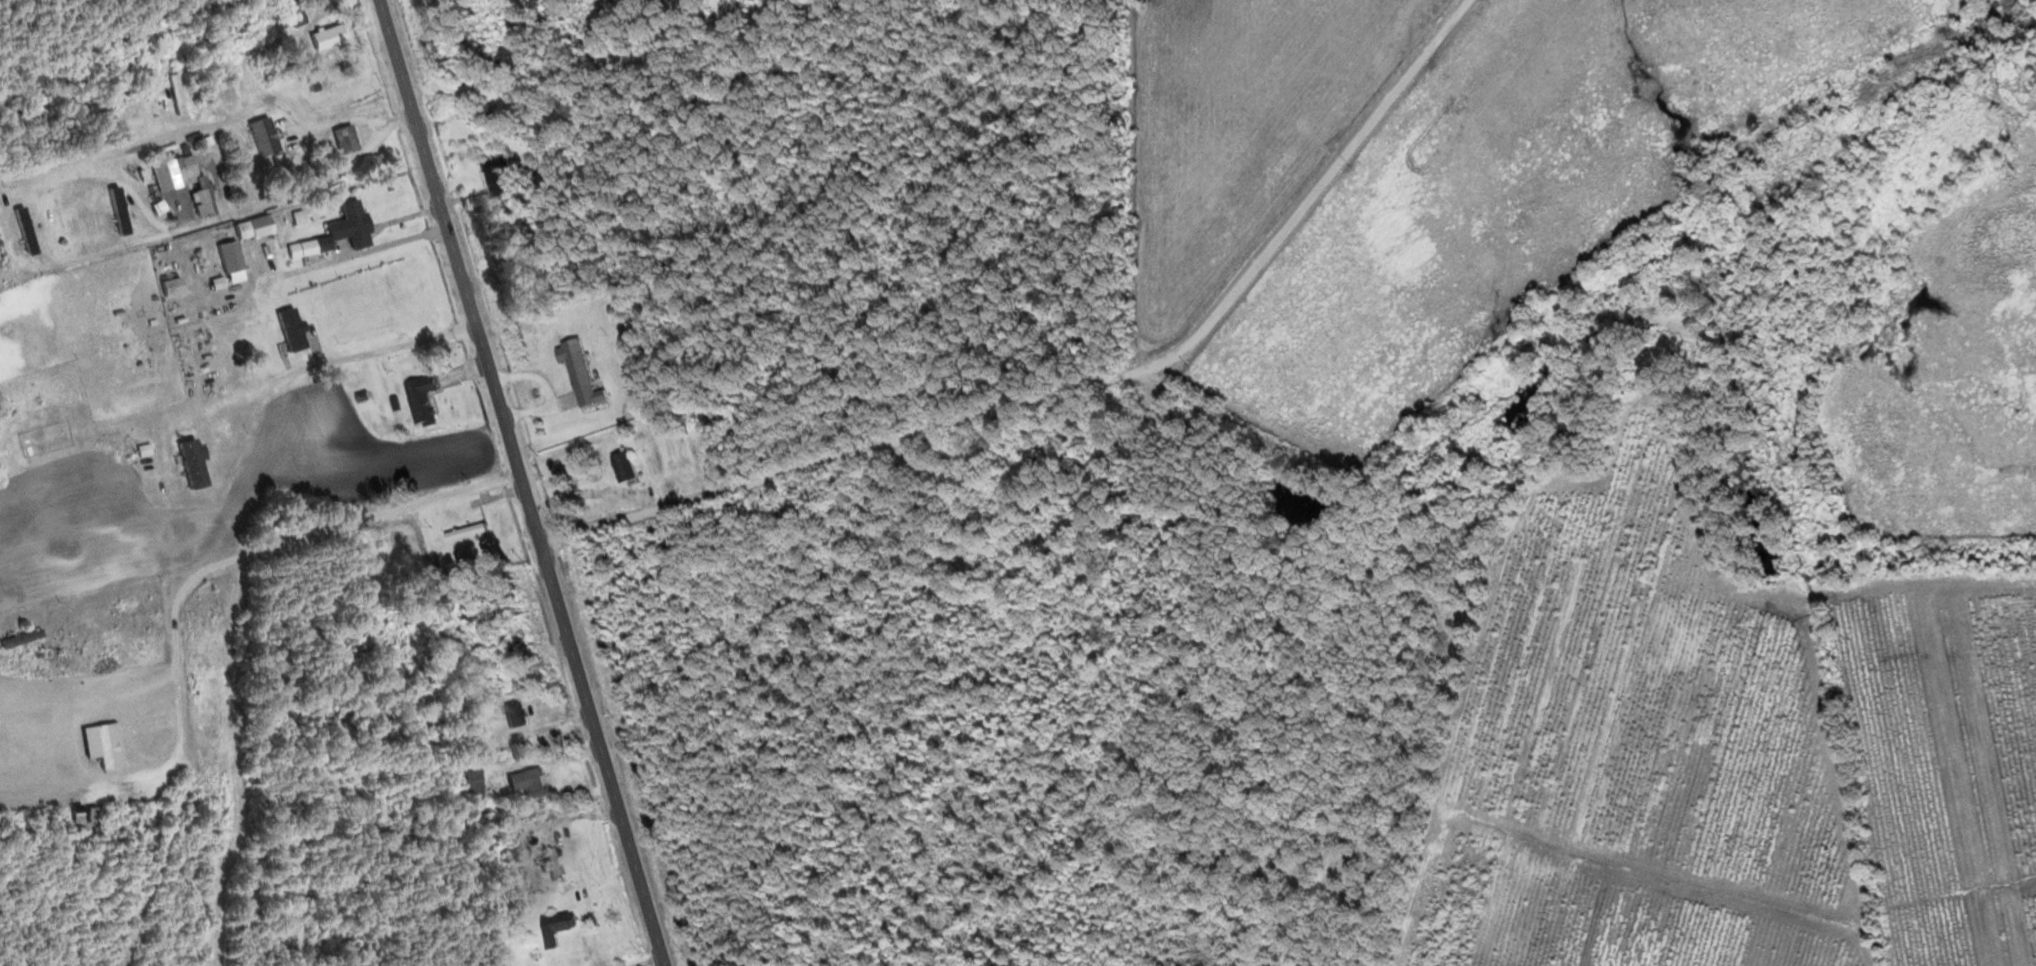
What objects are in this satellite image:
building: (295, 18)
building: (325, 36)
road: (440, 85)
building: (480, 115)
building: (260, 136)
road: (1323, 138)
building: (342, 139)
building: (496, 171)
building: (183, 182)
road: (310, 185)
road: (1302, 196)
building: (115, 213)
road: (11, 216)
building: (346, 225)
building: (249, 228)
building: (24, 233)
road: (368, 251)
road: (546, 253)
building: (226, 256)
road: (502, 260)
building: (287, 329)
building: (575, 372)
building: (417, 398)
building: (1180, 414)
road: (243, 459)
building: (188, 463)
building: (620, 466)
building: (146, 471)
road: (523, 483)
building: (460, 525)
building: (512, 714)
building: (468, 781)
building: (524, 782)
building: (550, 864)
building: (552, 927)

